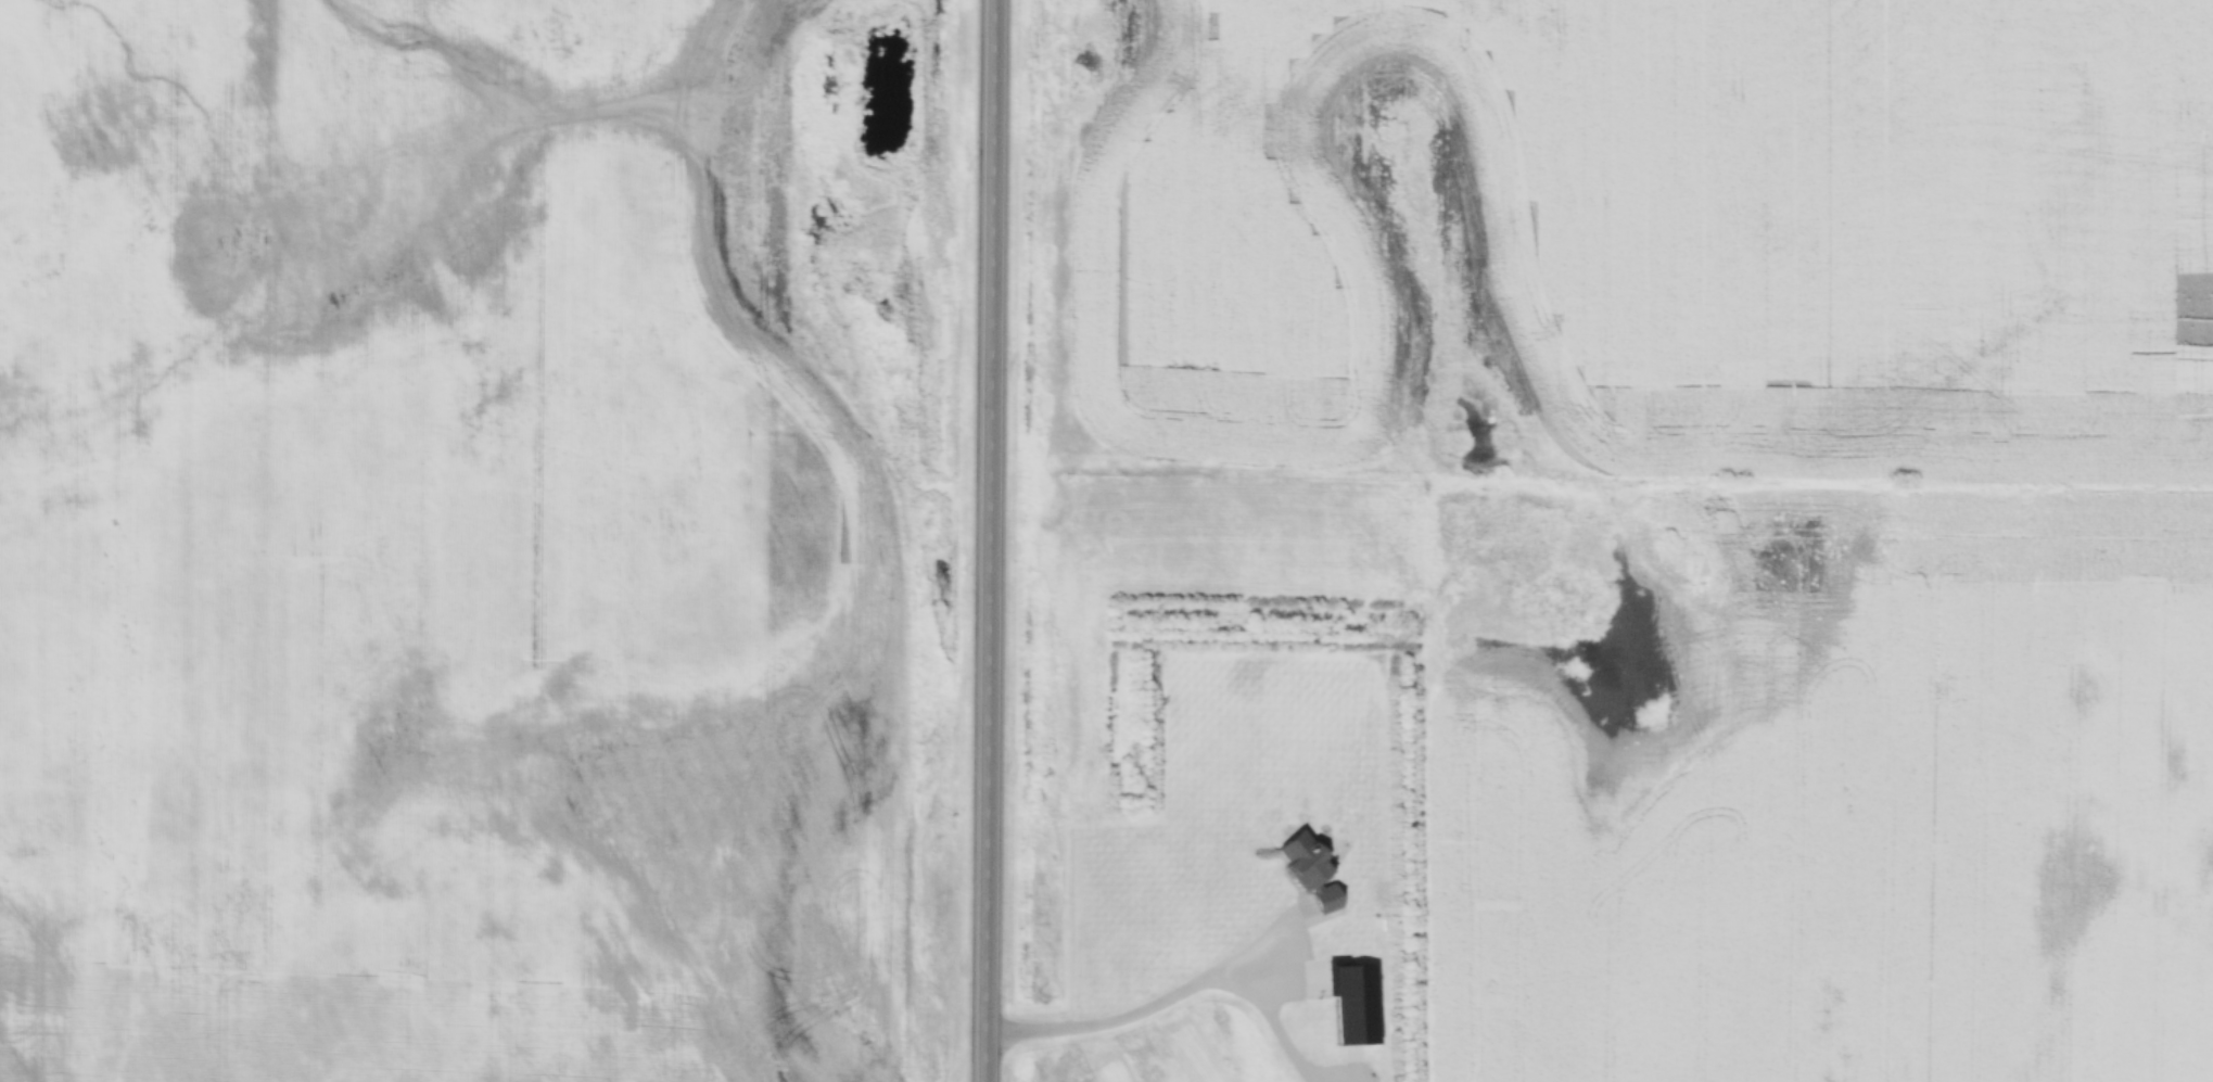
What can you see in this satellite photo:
road: (989, 540)
building: (1324, 895)
road: (1147, 1010)

